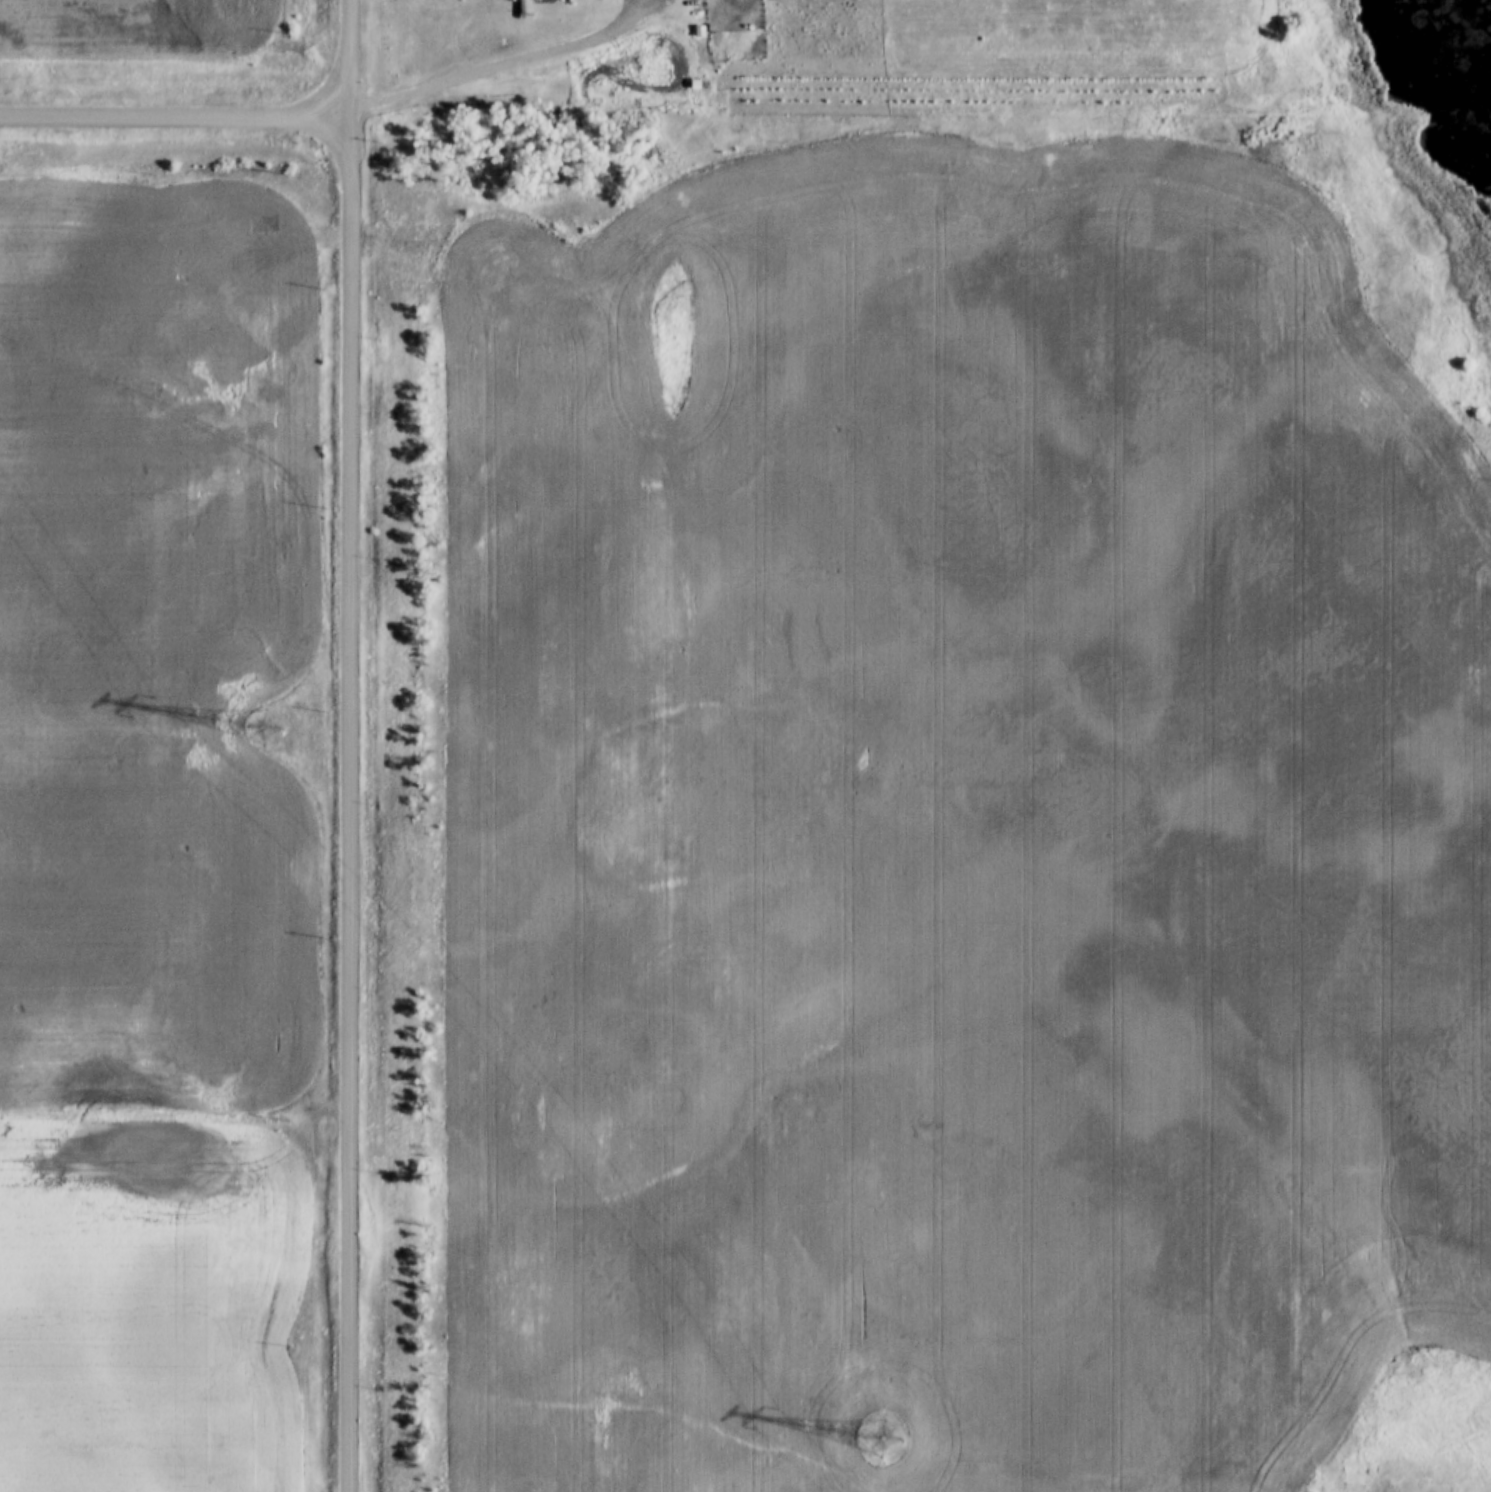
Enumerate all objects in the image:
road: (189, 118)
road: (322, 134)
power tower: (274, 734)
road: (349, 746)
power tower: (892, 1443)

